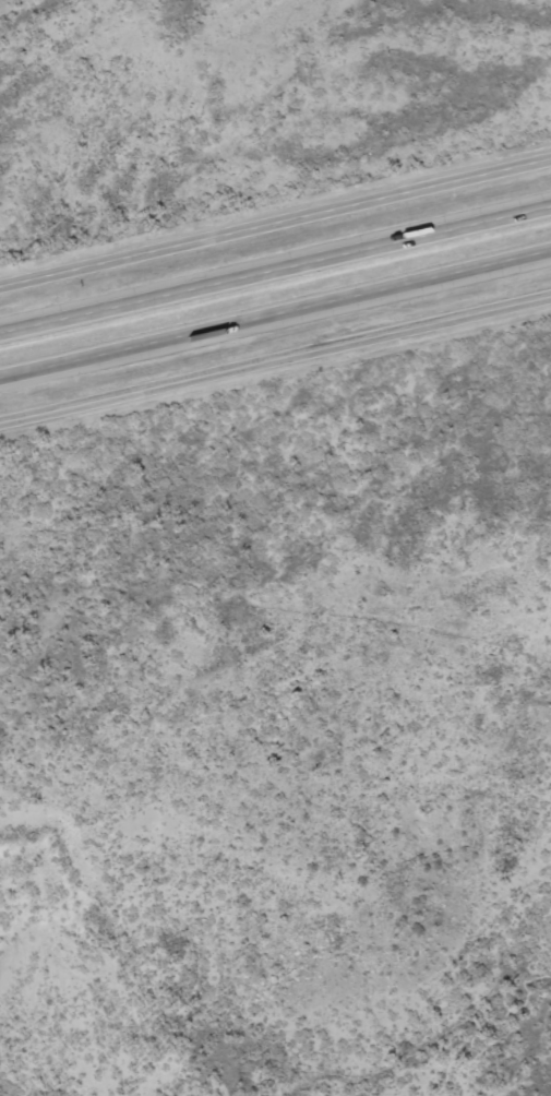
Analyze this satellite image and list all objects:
road: (2, 1)
road: (276, 205)
road: (324, 258)
road: (275, 312)
road: (48, 322)
road: (275, 353)

